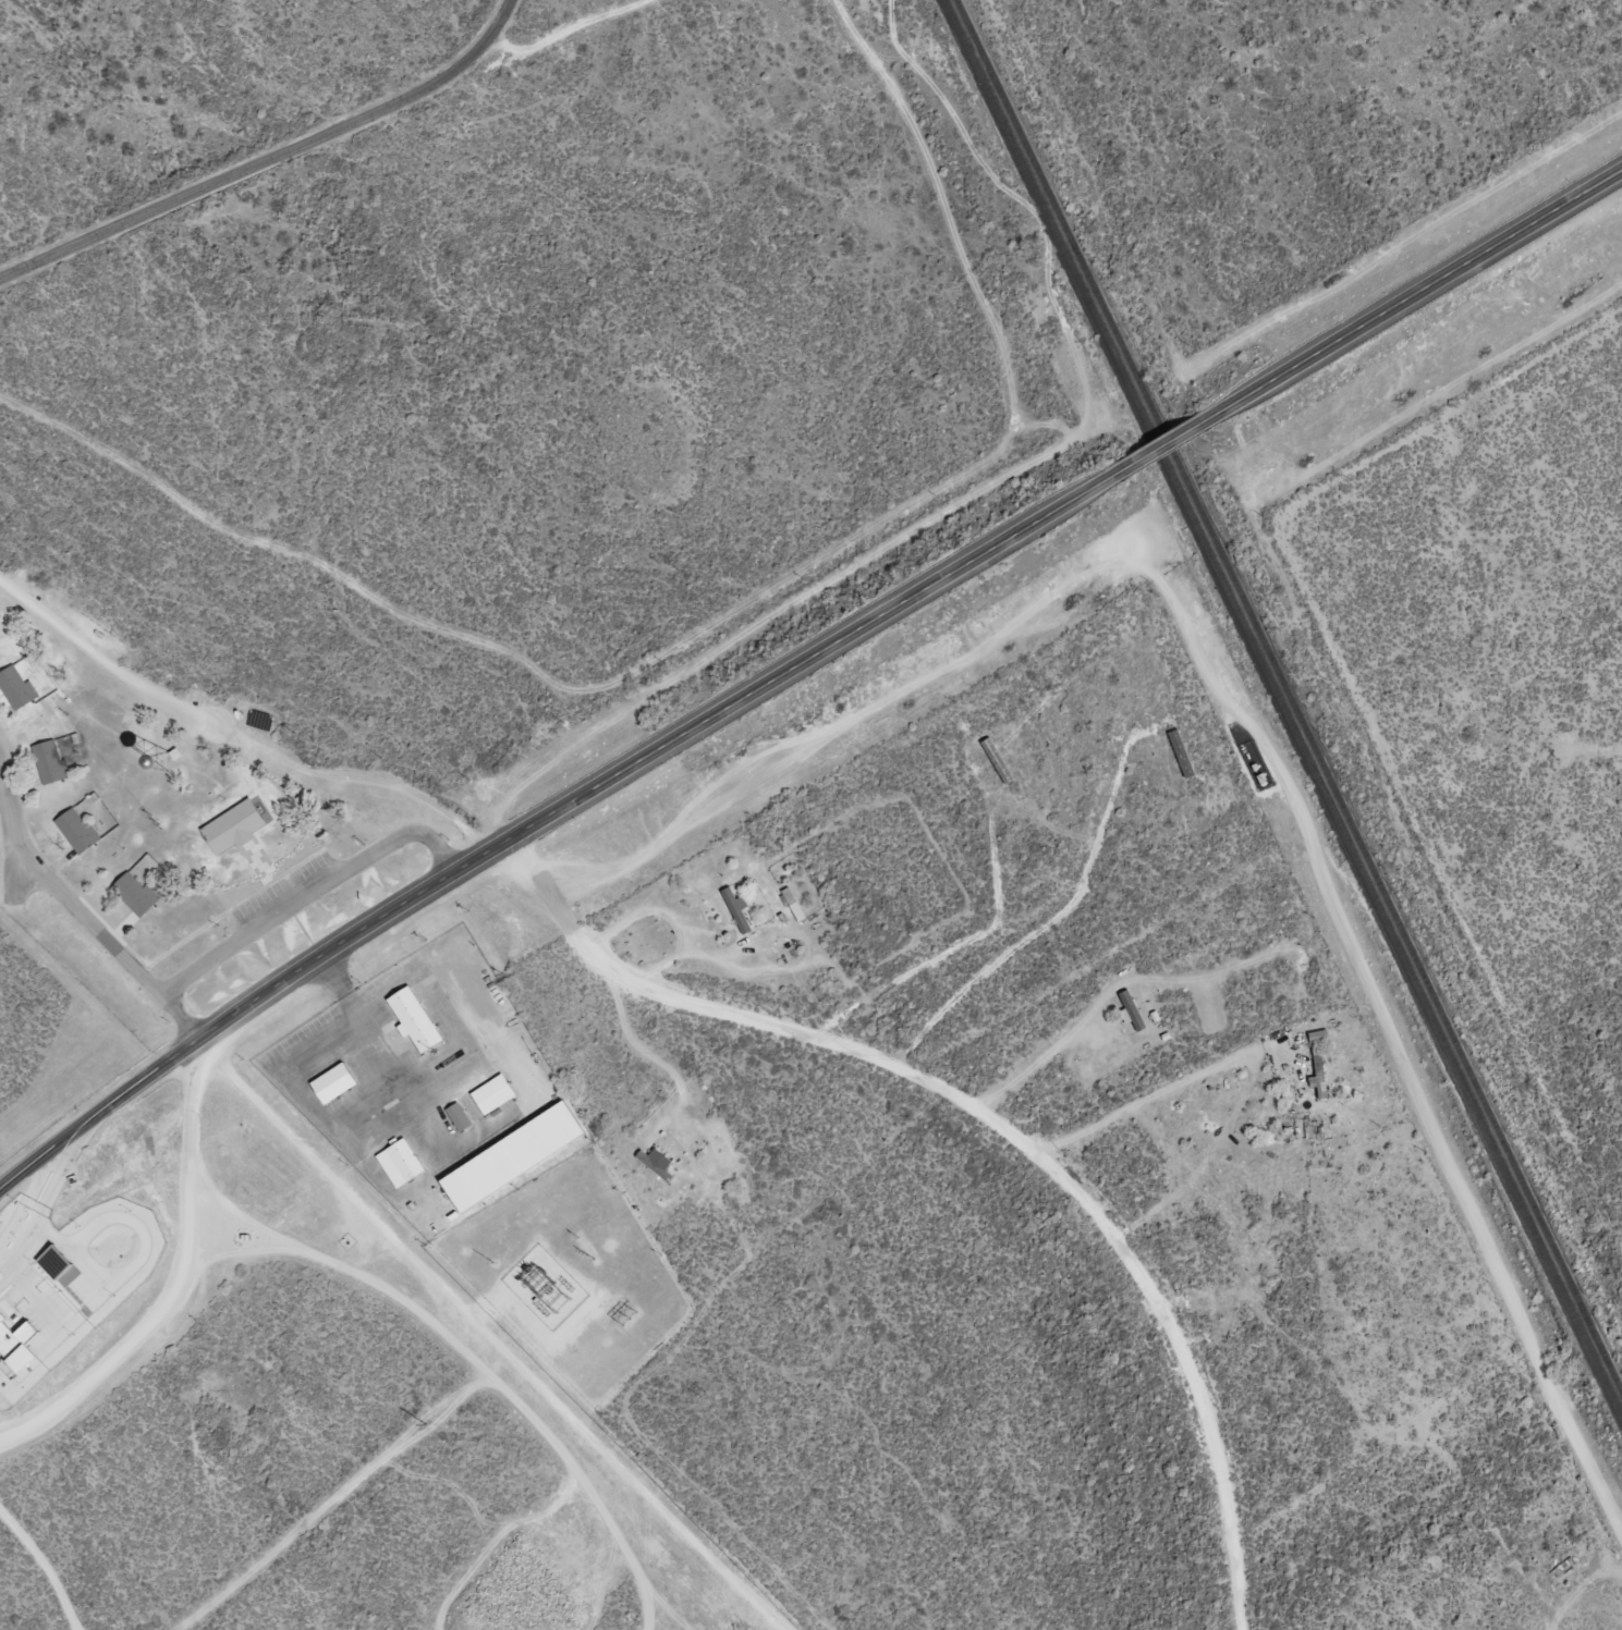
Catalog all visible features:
road: (270, 158)
road: (1415, 293)
road: (1163, 443)
building: (15, 688)
railway: (1290, 696)
railway: (1284, 707)
road: (1248, 722)
road: (236, 734)
building: (1180, 755)
water tower: (158, 761)
building: (996, 761)
building: (50, 762)
building: (1260, 781)
road: (600, 784)
building: (76, 831)
building: (239, 831)
building: (134, 895)
road: (312, 895)
road: (81, 911)
building: (734, 911)
building: (1132, 1012)
building: (412, 1019)
road: (387, 1053)
building: (1318, 1063)
building: (331, 1082)
building: (491, 1093)
building: (456, 1116)
road: (997, 1124)
road: (76, 1142)
road: (46, 1152)
building: (508, 1155)
building: (399, 1163)
building: (653, 1164)
road: (27, 1198)
road: (35, 1224)
power tower: (595, 1259)
building: (59, 1262)
power substation: (546, 1287)
road: (182, 1290)
power tower: (563, 1291)
power tower: (545, 1311)
power tower: (631, 1320)
road: (488, 1335)
building: (20, 1340)
road: (477, 1360)
power tower: (707, 1394)
power tower: (426, 1425)
road: (48, 1565)
building: (1566, 1567)

